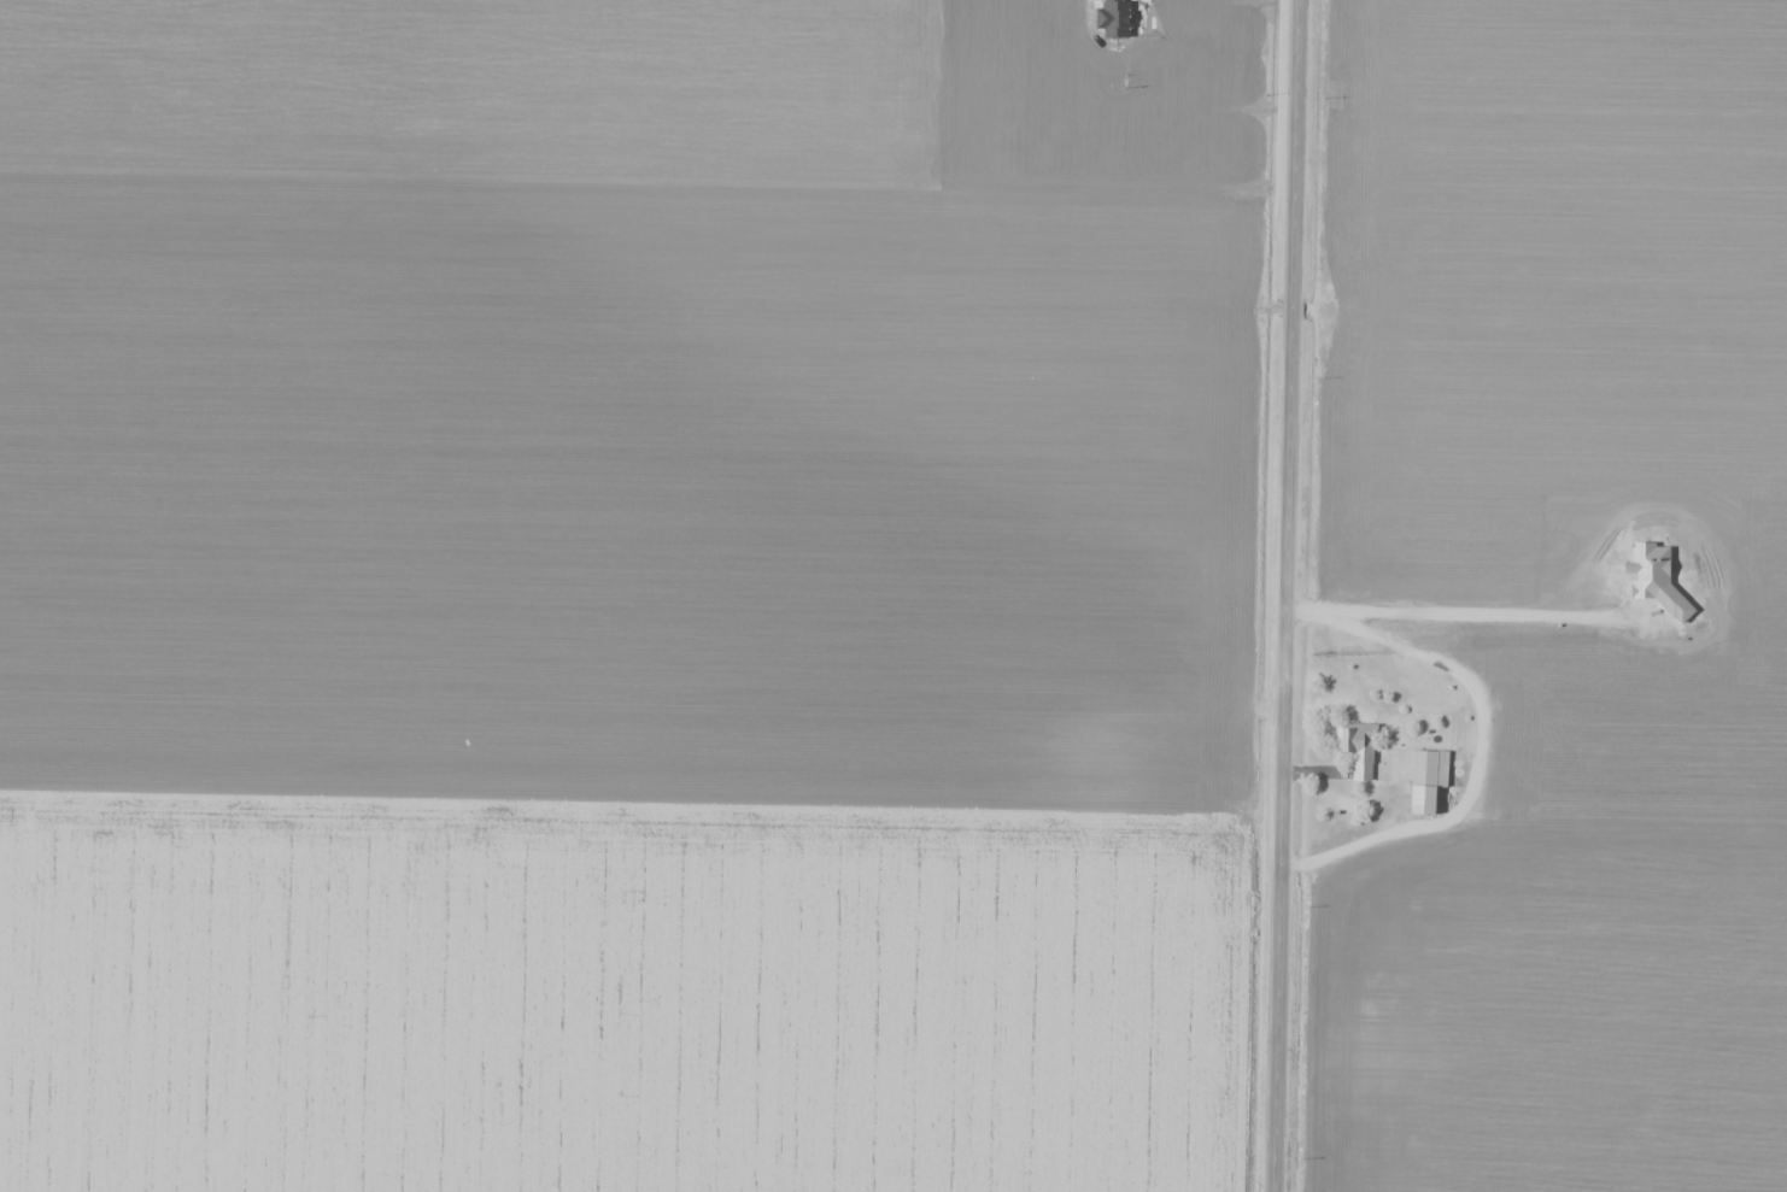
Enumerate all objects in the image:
road: (1284, 595)
building: (1358, 747)
building: (1428, 779)

